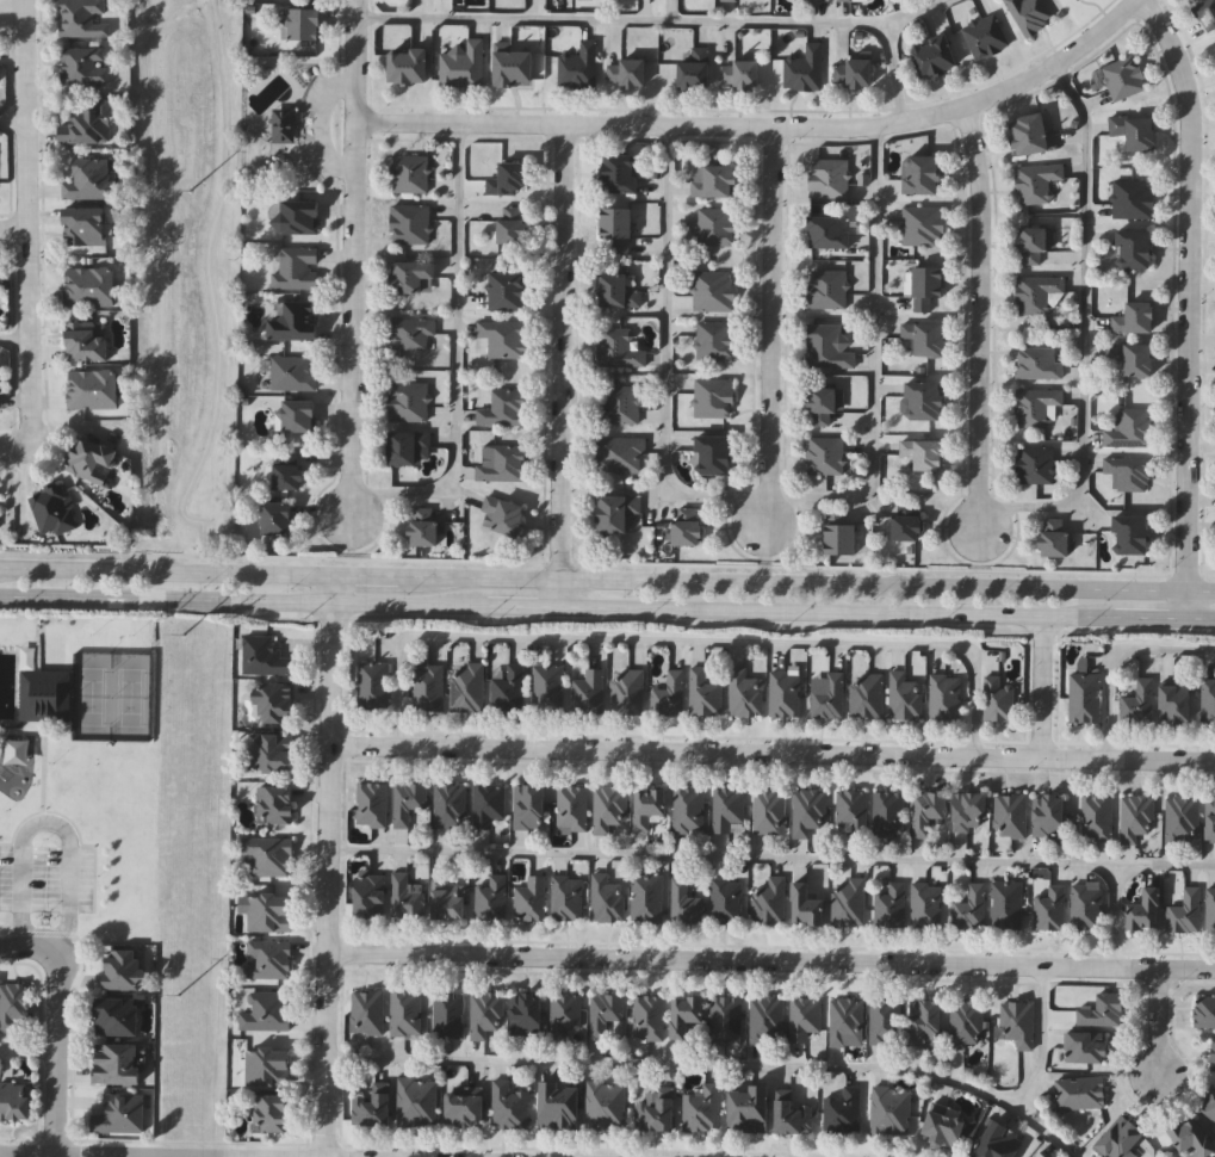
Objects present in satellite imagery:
building: (730, 0)
building: (811, 0)
building: (847, 0)
building: (1077, 0)
road: (12, 10)
road: (913, 11)
building: (1028, 14)
building: (1205, 14)
building: (85, 19)
road: (619, 19)
building: (305, 25)
building: (985, 37)
building: (1214, 51)
building: (930, 58)
building: (85, 66)
building: (465, 66)
building: (411, 67)
building: (581, 67)
building: (516, 69)
road: (893, 69)
building: (698, 70)
building: (804, 70)
building: (628, 74)
building: (743, 75)
building: (851, 75)
building: (1122, 79)
road: (13, 119)
building: (88, 125)
road: (761, 125)
building: (285, 126)
building: (1133, 132)
building: (1028, 136)
building: (413, 174)
building: (624, 174)
building: (918, 175)
building: (91, 179)
building: (513, 179)
building: (827, 180)
building: (717, 182)
building: (1036, 182)
building: (1133, 200)
building: (299, 218)
road: (26, 223)
building: (413, 224)
building: (514, 225)
building: (922, 225)
road: (13, 227)
building: (718, 227)
building: (86, 228)
building: (621, 229)
building: (826, 233)
road: (353, 246)
building: (1030, 246)
building: (1130, 249)
park: (184, 268)
building: (297, 268)
building: (415, 277)
road: (209, 287)
building: (91, 289)
building: (923, 289)
building: (509, 290)
building: (826, 290)
building: (620, 291)
building: (715, 292)
building: (1035, 293)
road: (975, 305)
road: (1180, 305)
building: (1132, 320)
building: (298, 322)
road: (1084, 323)
road: (770, 326)
building: (414, 334)
road: (16, 338)
building: (507, 339)
building: (922, 339)
building: (717, 341)
building: (87, 344)
building: (826, 347)
building: (621, 349)
road: (458, 353)
building: (1134, 359)
road: (560, 363)
building: (1037, 364)
building: (296, 373)
building: (0, 390)
building: (93, 390)
building: (717, 400)
building: (411, 402)
building: (920, 402)
building: (822, 404)
building: (624, 406)
building: (1036, 408)
building: (506, 409)
building: (302, 416)
building: (1129, 428)
road: (11, 448)
building: (413, 448)
building: (919, 454)
building: (622, 456)
building: (718, 456)
building: (824, 456)
building: (93, 462)
building: (504, 463)
building: (1033, 464)
building: (1128, 474)
building: (291, 475)
road: (770, 495)
road: (351, 506)
building: (54, 511)
building: (620, 513)
building: (507, 516)
building: (280, 519)
road: (980, 521)
building: (427, 527)
building: (690, 527)
building: (903, 528)
building: (1127, 536)
building: (1050, 539)
building: (837, 540)
road: (60, 555)
road: (161, 556)
road: (607, 576)
road: (242, 601)
road: (522, 604)
road: (836, 610)
road: (1146, 619)
road: (1196, 620)
road: (688, 639)
building: (267, 656)
road: (1116, 660)
building: (373, 683)
building: (429, 686)
road: (1042, 686)
building: (469, 687)
building: (509, 688)
building: (548, 689)
building: (627, 691)
building: (589, 692)
building: (705, 692)
building: (670, 693)
building: (745, 693)
building: (786, 693)
building: (866, 694)
building: (48, 695)
building: (904, 695)
building: (827, 697)
building: (943, 697)
building: (1083, 697)
building: (997, 698)
building: (1208, 699)
building: (1172, 700)
building: (278, 701)
building: (1137, 701)
road: (773, 751)
building: (275, 753)
building: (409, 802)
building: (372, 803)
building: (489, 803)
building: (451, 804)
building: (277, 805)
building: (529, 806)
building: (610, 806)
building: (650, 806)
building: (572, 808)
building: (689, 809)
building: (730, 810)
building: (770, 810)
building: (808, 810)
building: (926, 810)
building: (967, 810)
building: (851, 811)
building: (887, 812)
building: (1044, 813)
building: (1010, 815)
building: (1135, 816)
building: (1096, 817)
building: (1209, 818)
building: (1180, 819)
road: (48, 824)
building: (269, 854)
road: (771, 856)
road: (328, 865)
building: (371, 895)
building: (408, 896)
building: (568, 896)
building: (491, 897)
building: (531, 897)
building: (607, 897)
building: (647, 897)
building: (727, 899)
building: (450, 901)
building: (769, 901)
building: (684, 902)
building: (847, 902)
building: (805, 904)
building: (888, 904)
building: (1005, 904)
building: (925, 905)
building: (1084, 905)
building: (969, 907)
building: (1049, 907)
building: (1141, 908)
building: (1210, 909)
building: (268, 910)
building: (1184, 910)
road: (1115, 915)
road: (24, 947)
building: (269, 958)
road: (771, 960)
building: (125, 967)
building: (13, 1003)
building: (1099, 1009)
building: (267, 1010)
building: (368, 1010)
building: (1203, 1010)
building: (527, 1011)
building: (565, 1011)
building: (407, 1013)
building: (450, 1013)
building: (486, 1013)
building: (605, 1013)
building: (118, 1014)
building: (687, 1014)
building: (649, 1016)
building: (805, 1016)
building: (726, 1019)
building: (767, 1019)
building: (845, 1019)
building: (923, 1020)
building: (881, 1021)
building: (965, 1021)
building: (1016, 1022)
road: (1157, 1023)
road: (1043, 1039)
building: (1083, 1046)
road: (27, 1052)
building: (1211, 1053)
road: (55, 1054)
building: (117, 1063)
building: (269, 1065)
road: (711, 1068)
building: (1079, 1091)
building: (16, 1099)
building: (419, 1100)
building: (1208, 1102)
building: (562, 1103)
building: (467, 1105)
building: (510, 1105)
building: (607, 1105)
building: (372, 1107)
building: (701, 1107)
building: (749, 1108)
building: (889, 1109)
building: (274, 1110)
building: (843, 1110)
building: (656, 1113)
building: (119, 1114)
building: (794, 1115)
building: (940, 1126)
building: (1188, 1137)
building: (1116, 1138)
building: (994, 1140)
road: (50, 1155)
building: (1036, 1155)

